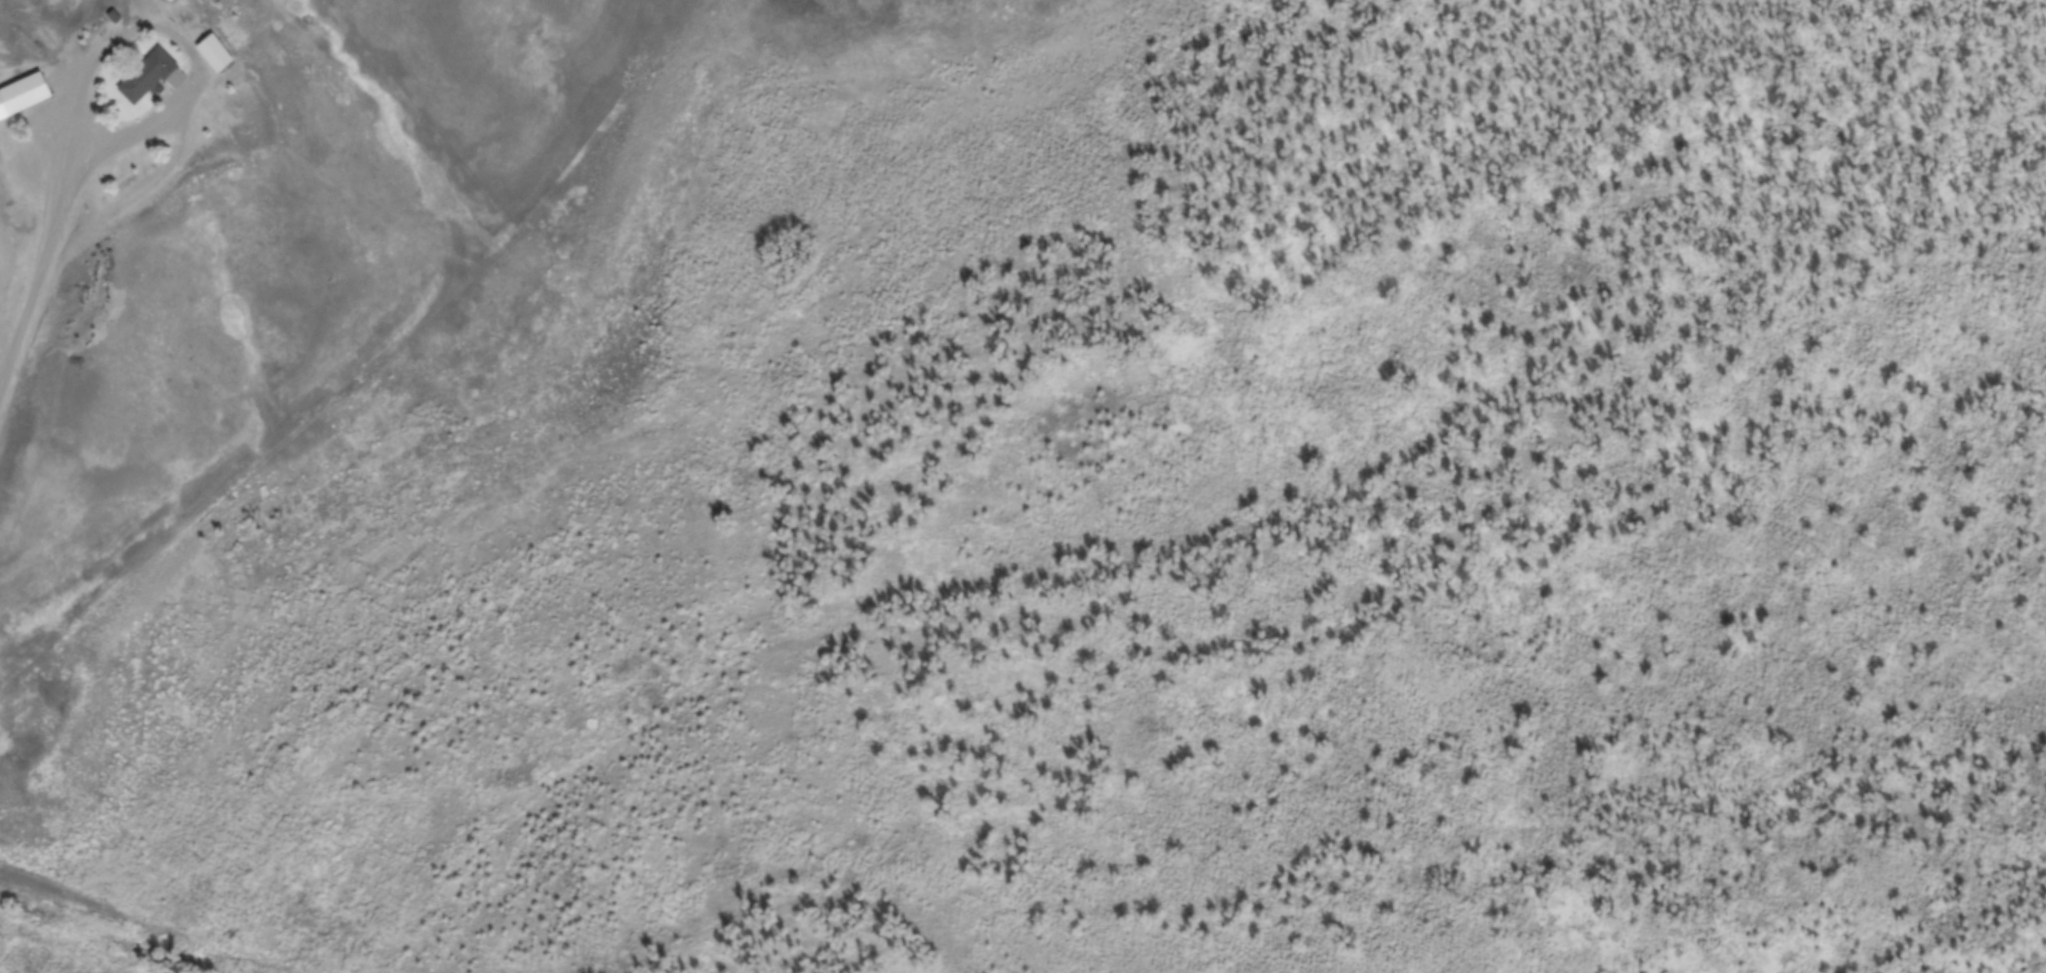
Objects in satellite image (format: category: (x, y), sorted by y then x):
building: (219, 54)
building: (147, 77)
building: (23, 96)

